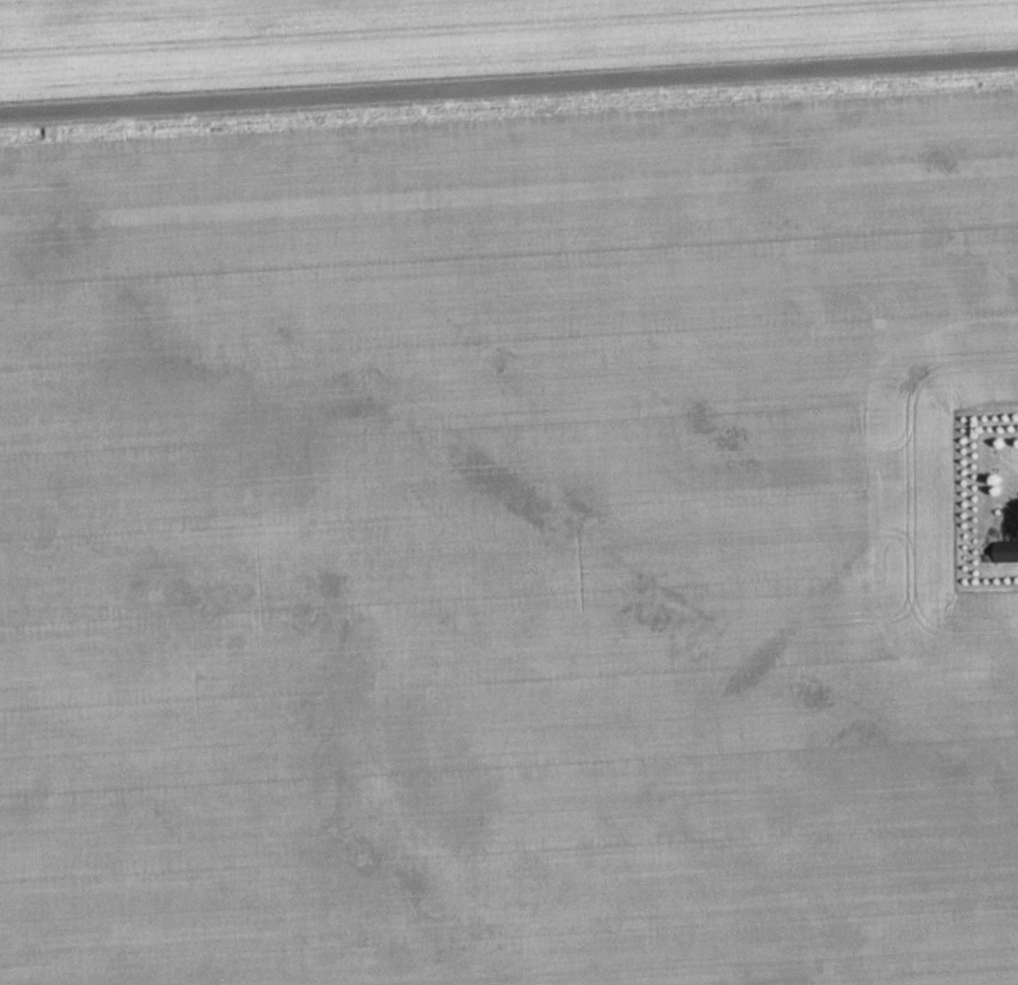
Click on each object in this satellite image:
road: (509, 84)
building: (1006, 552)

